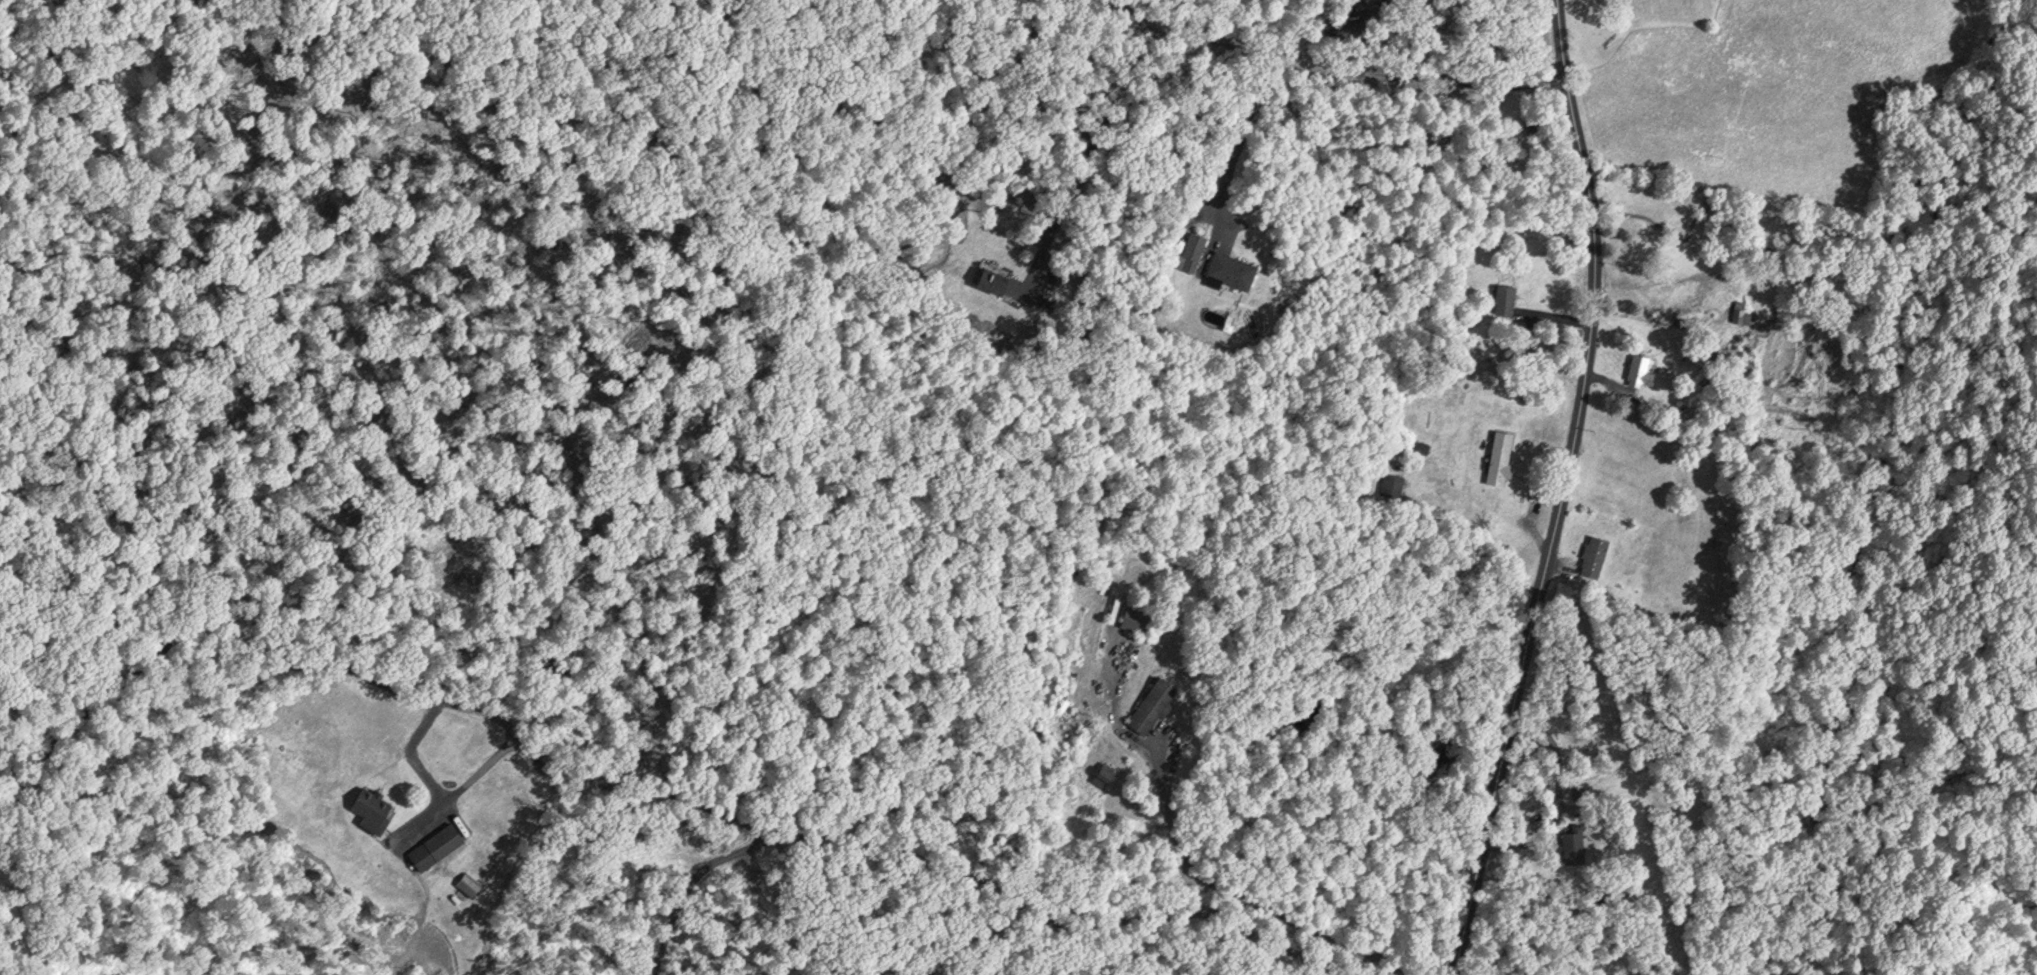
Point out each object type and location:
road: (1331, 64)
building: (1531, 121)
road: (1240, 139)
road: (1081, 162)
building: (1189, 250)
building: (1231, 269)
building: (994, 277)
building: (1505, 297)
building: (1742, 313)
building: (1641, 368)
building: (1501, 454)
road: (1553, 490)
building: (1594, 553)
building: (1138, 618)
road: (187, 650)
building: (1153, 704)
road: (408, 756)
building: (1104, 772)
road: (1556, 800)
building: (373, 805)
building: (437, 841)
road: (928, 859)
road: (1199, 872)
road: (691, 882)

